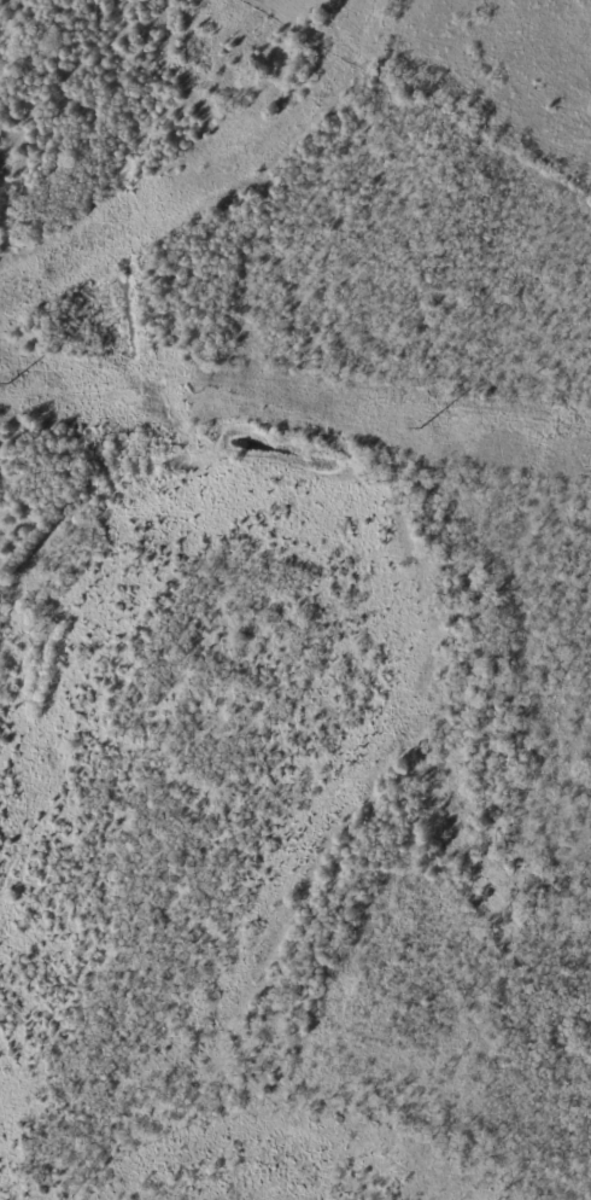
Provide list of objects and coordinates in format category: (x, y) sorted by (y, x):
power tower: (6, 386)
power tower: (420, 431)

